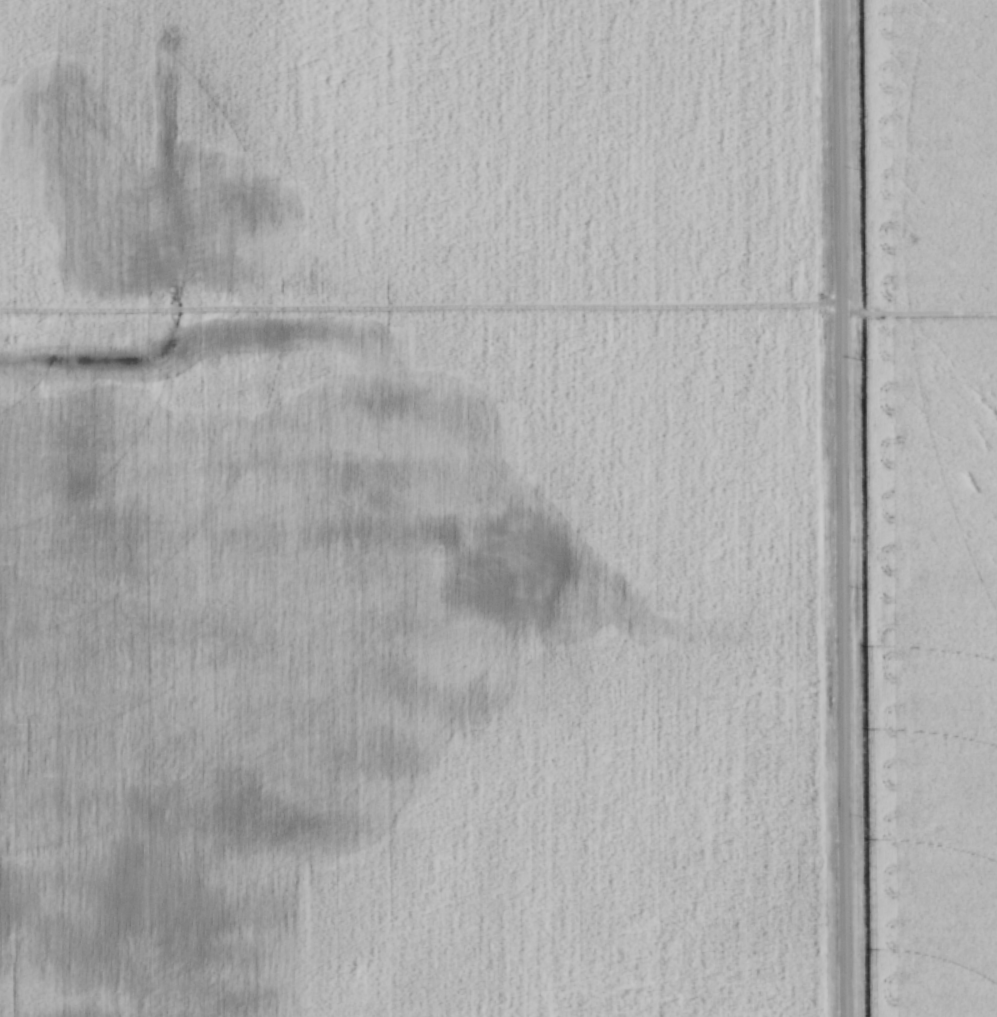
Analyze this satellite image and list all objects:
crop: (932, 501)
road: (838, 508)

